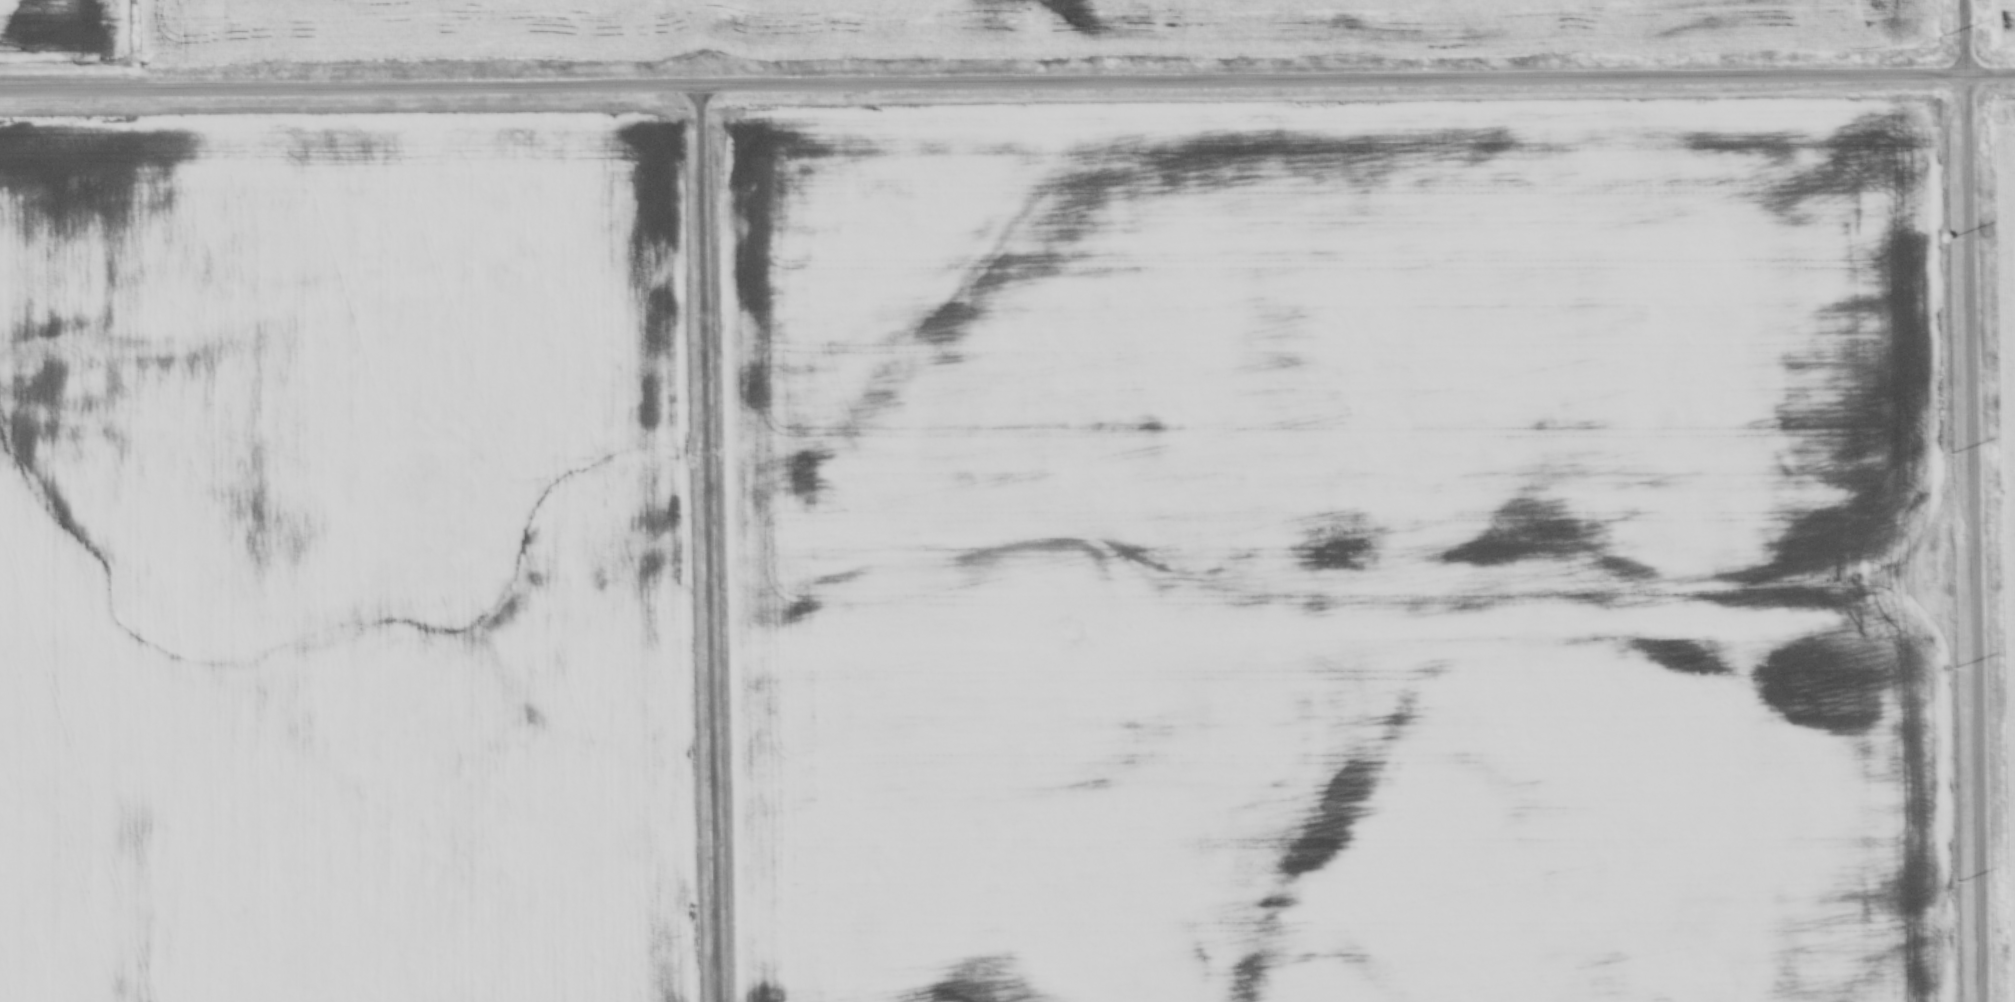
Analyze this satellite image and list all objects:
road: (1007, 83)
road: (1972, 501)
road: (705, 543)

